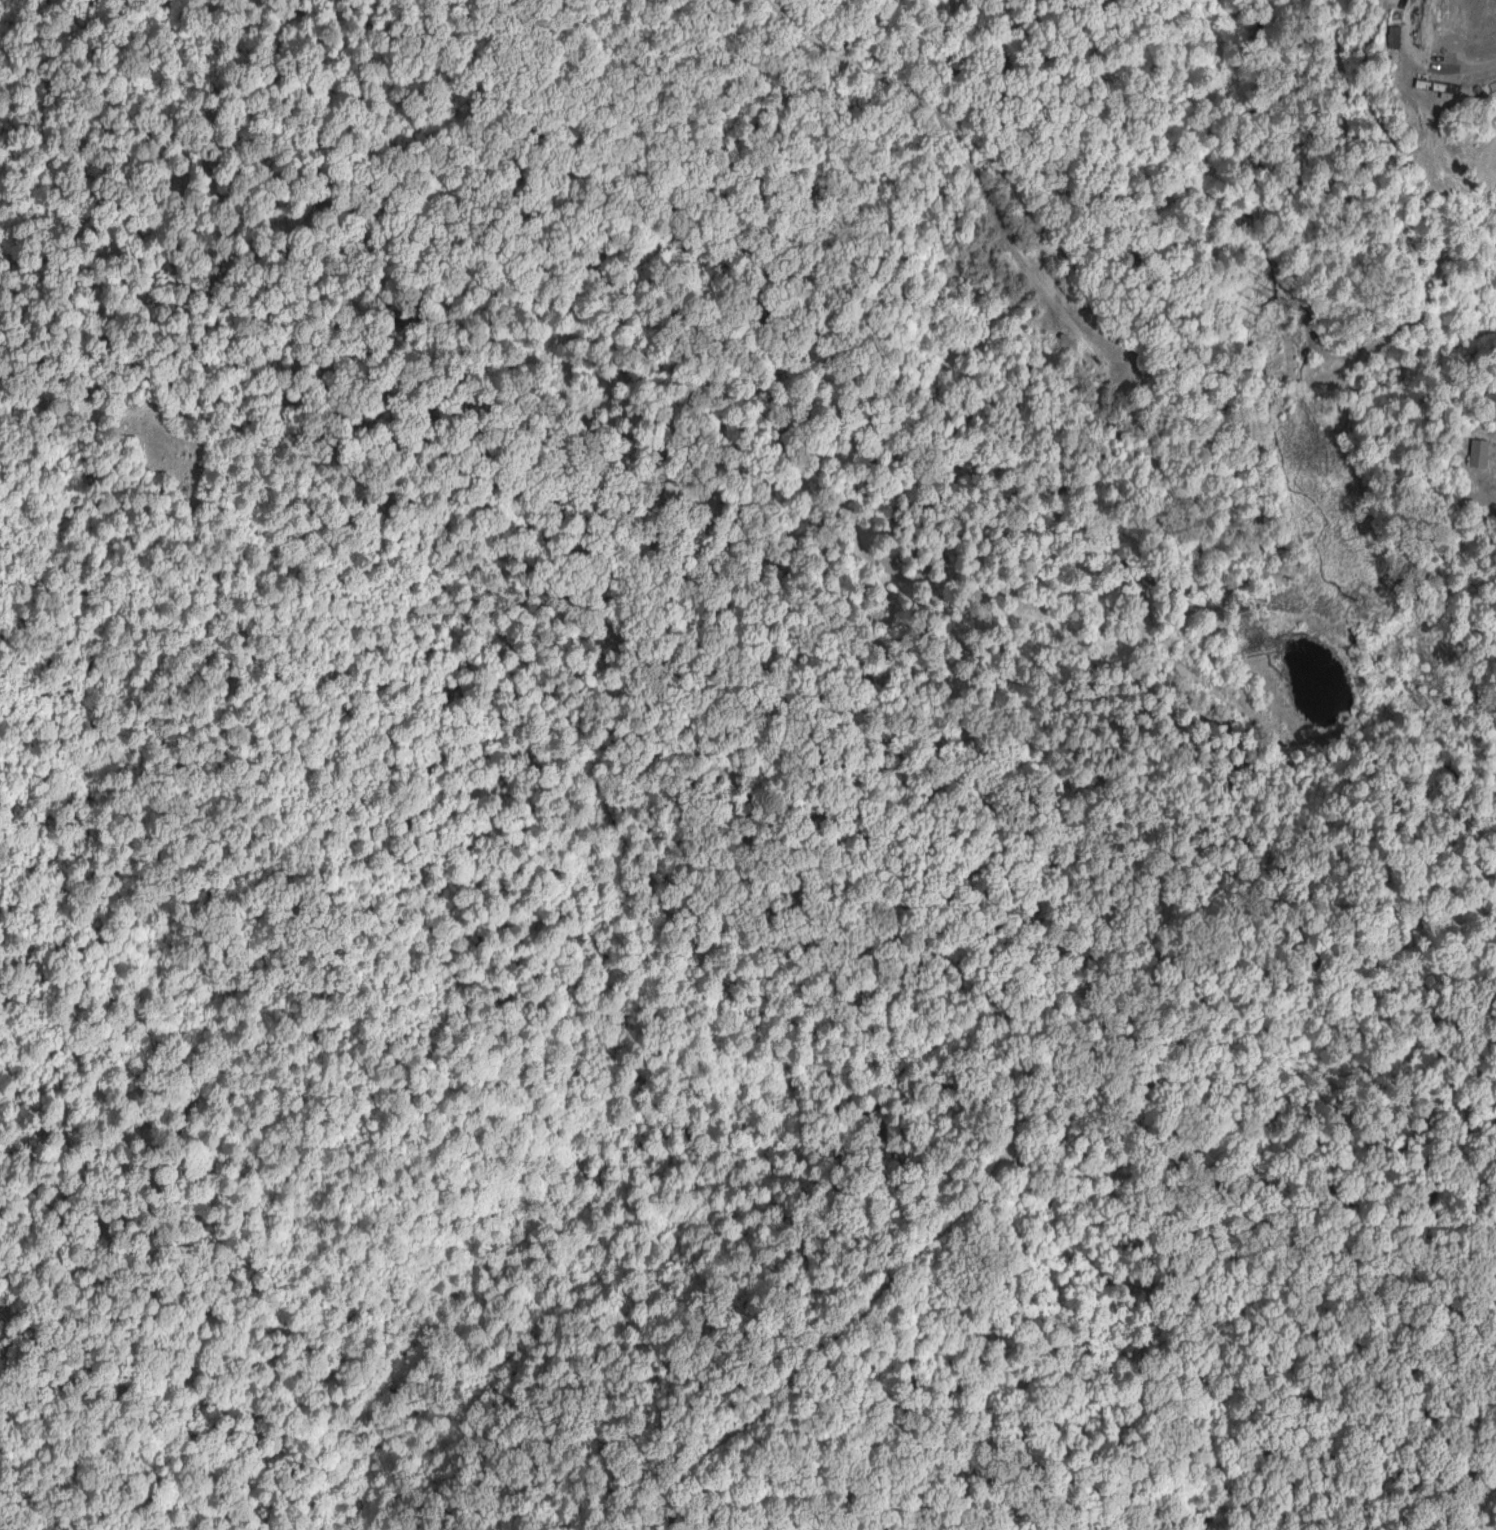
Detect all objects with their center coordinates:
road: (1474, 69)

